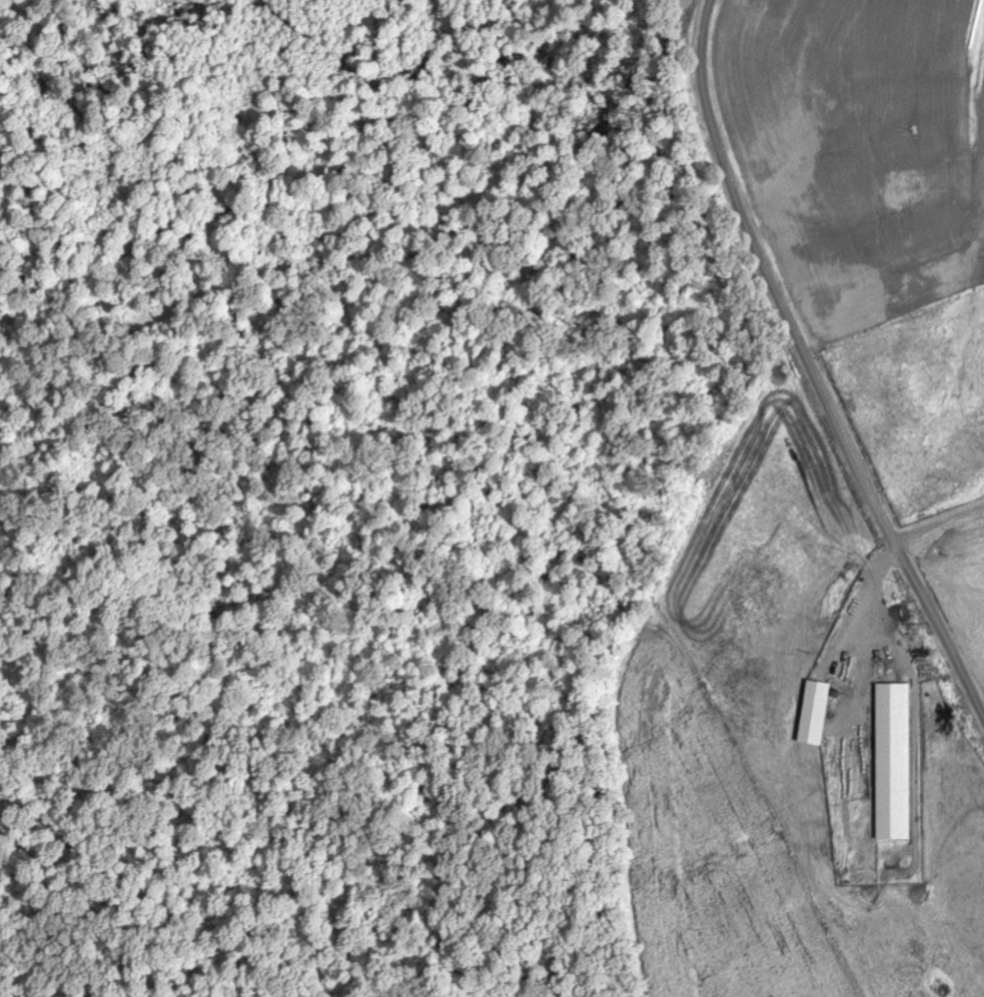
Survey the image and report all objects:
road: (812, 365)
building: (822, 712)
building: (901, 762)

